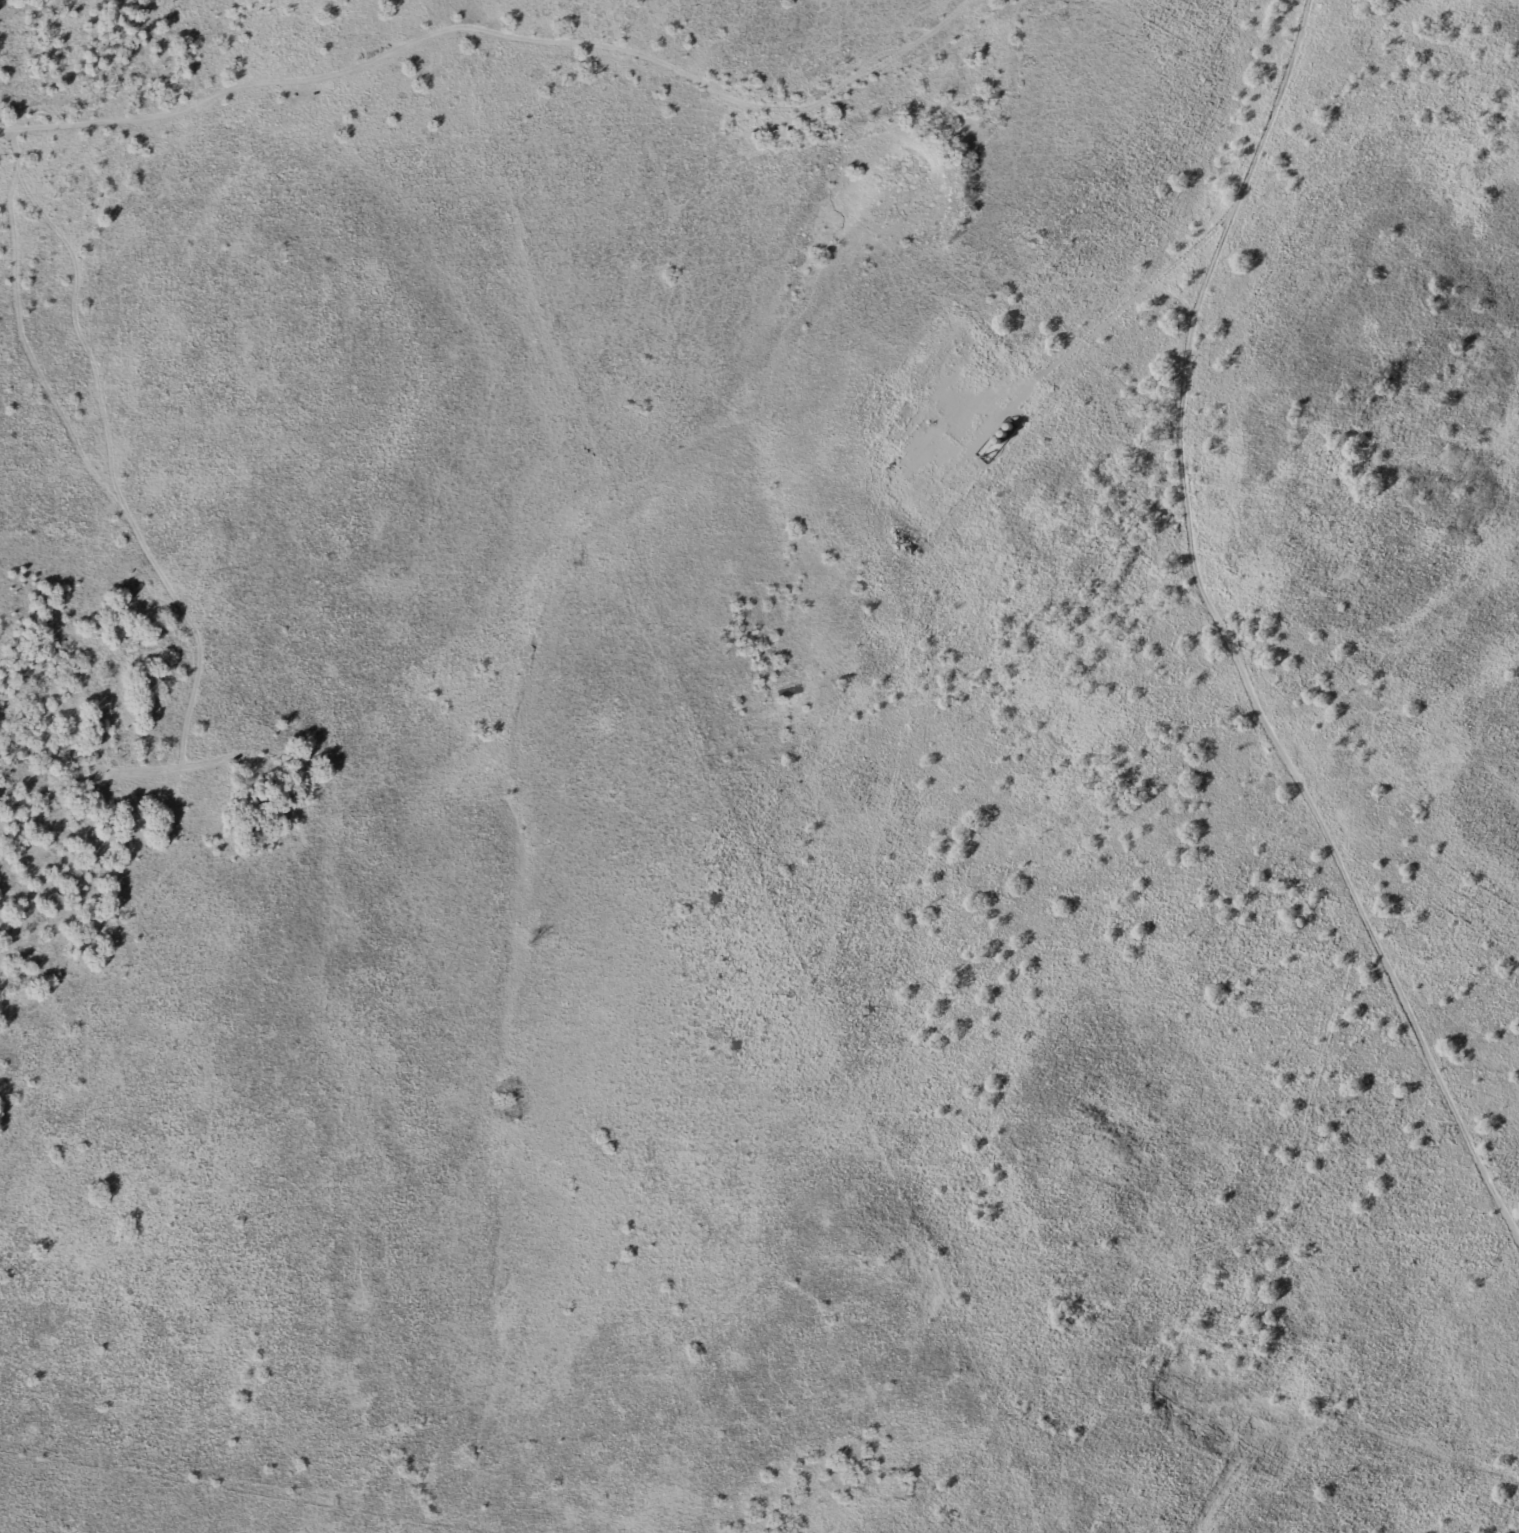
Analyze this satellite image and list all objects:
road: (1085, 340)
road: (1228, 635)

